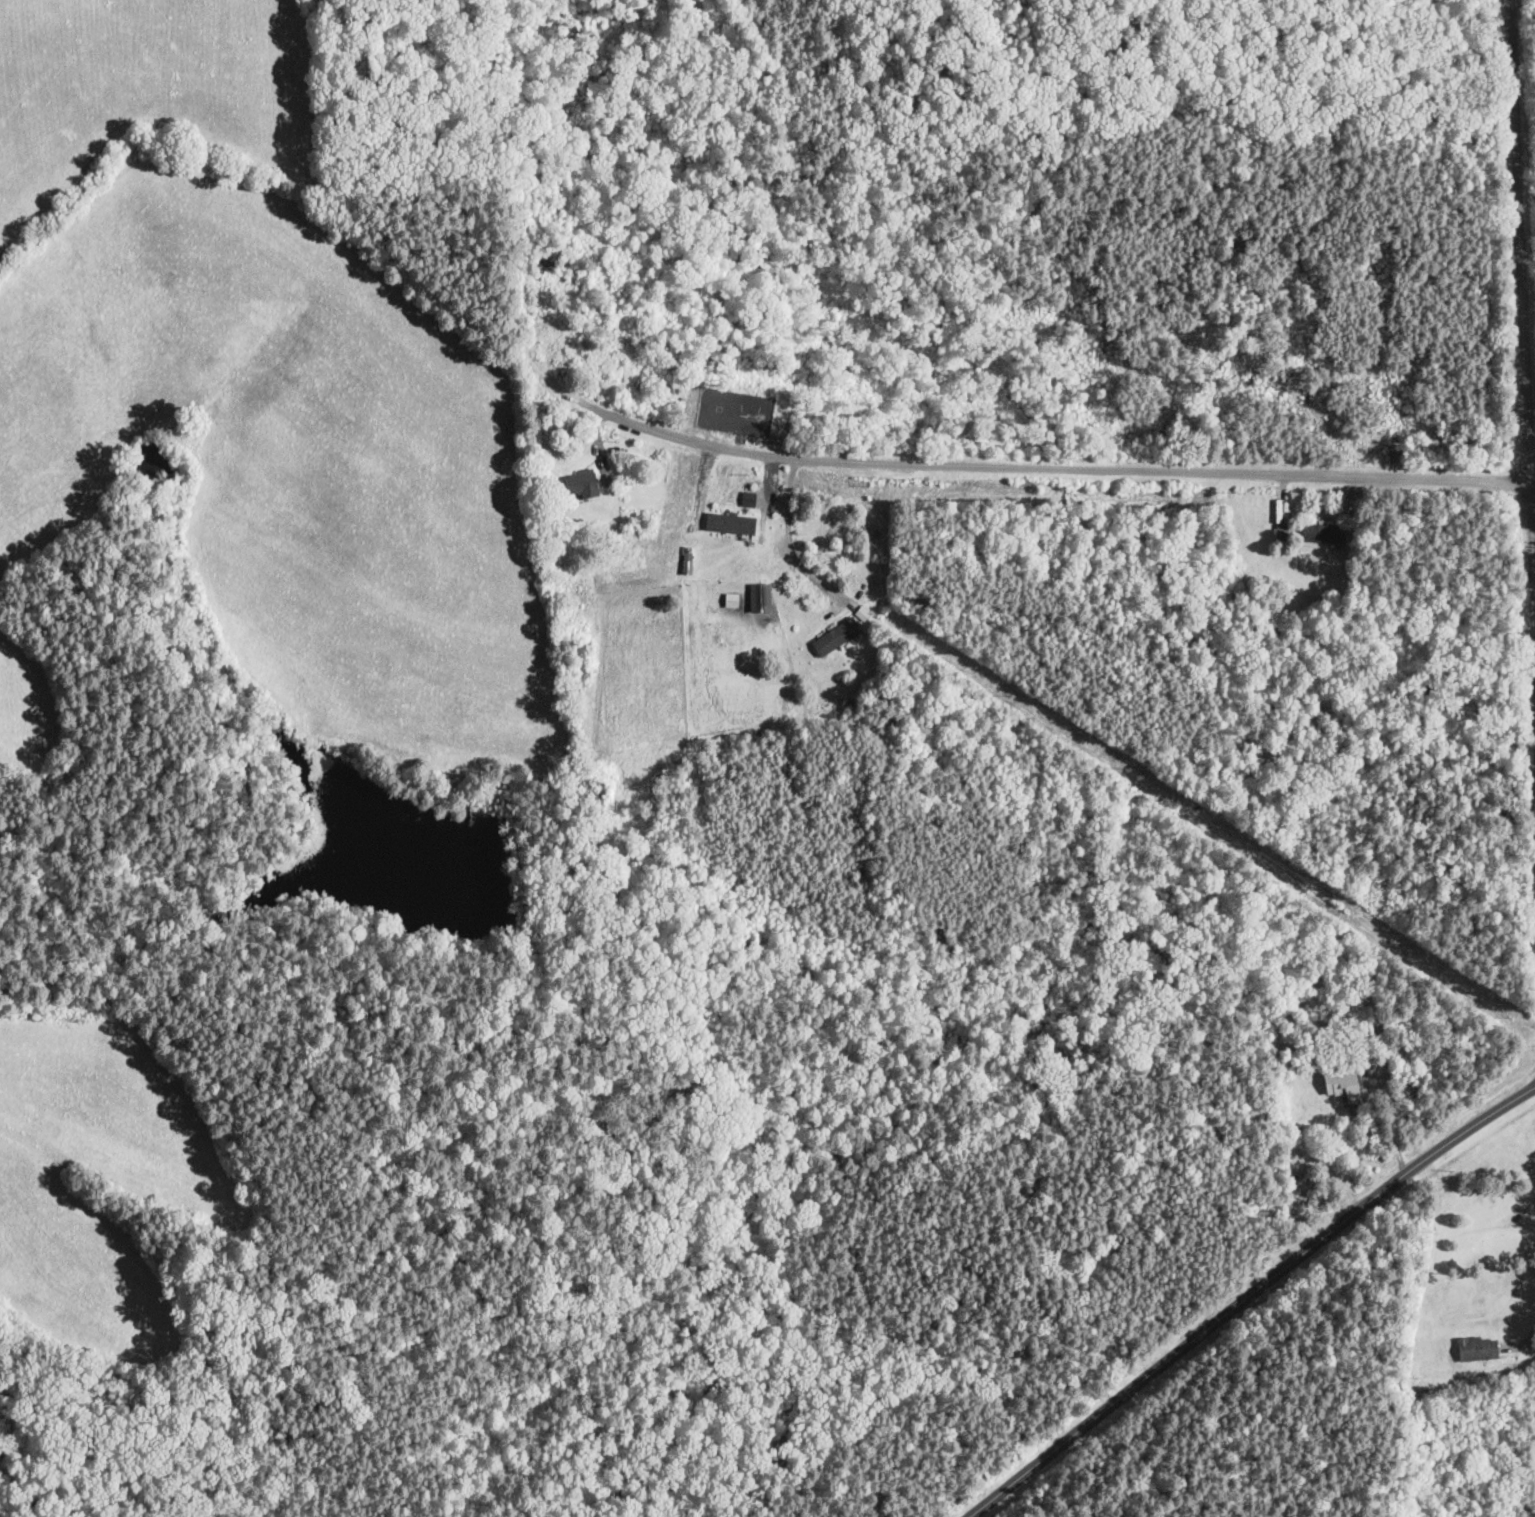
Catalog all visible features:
road: (1522, 263)
road: (989, 467)
building: (582, 486)
building: (733, 525)
building: (1325, 535)
building: (862, 616)
building: (838, 637)
building: (1344, 1085)
road: (1248, 1297)
building: (1478, 1349)

